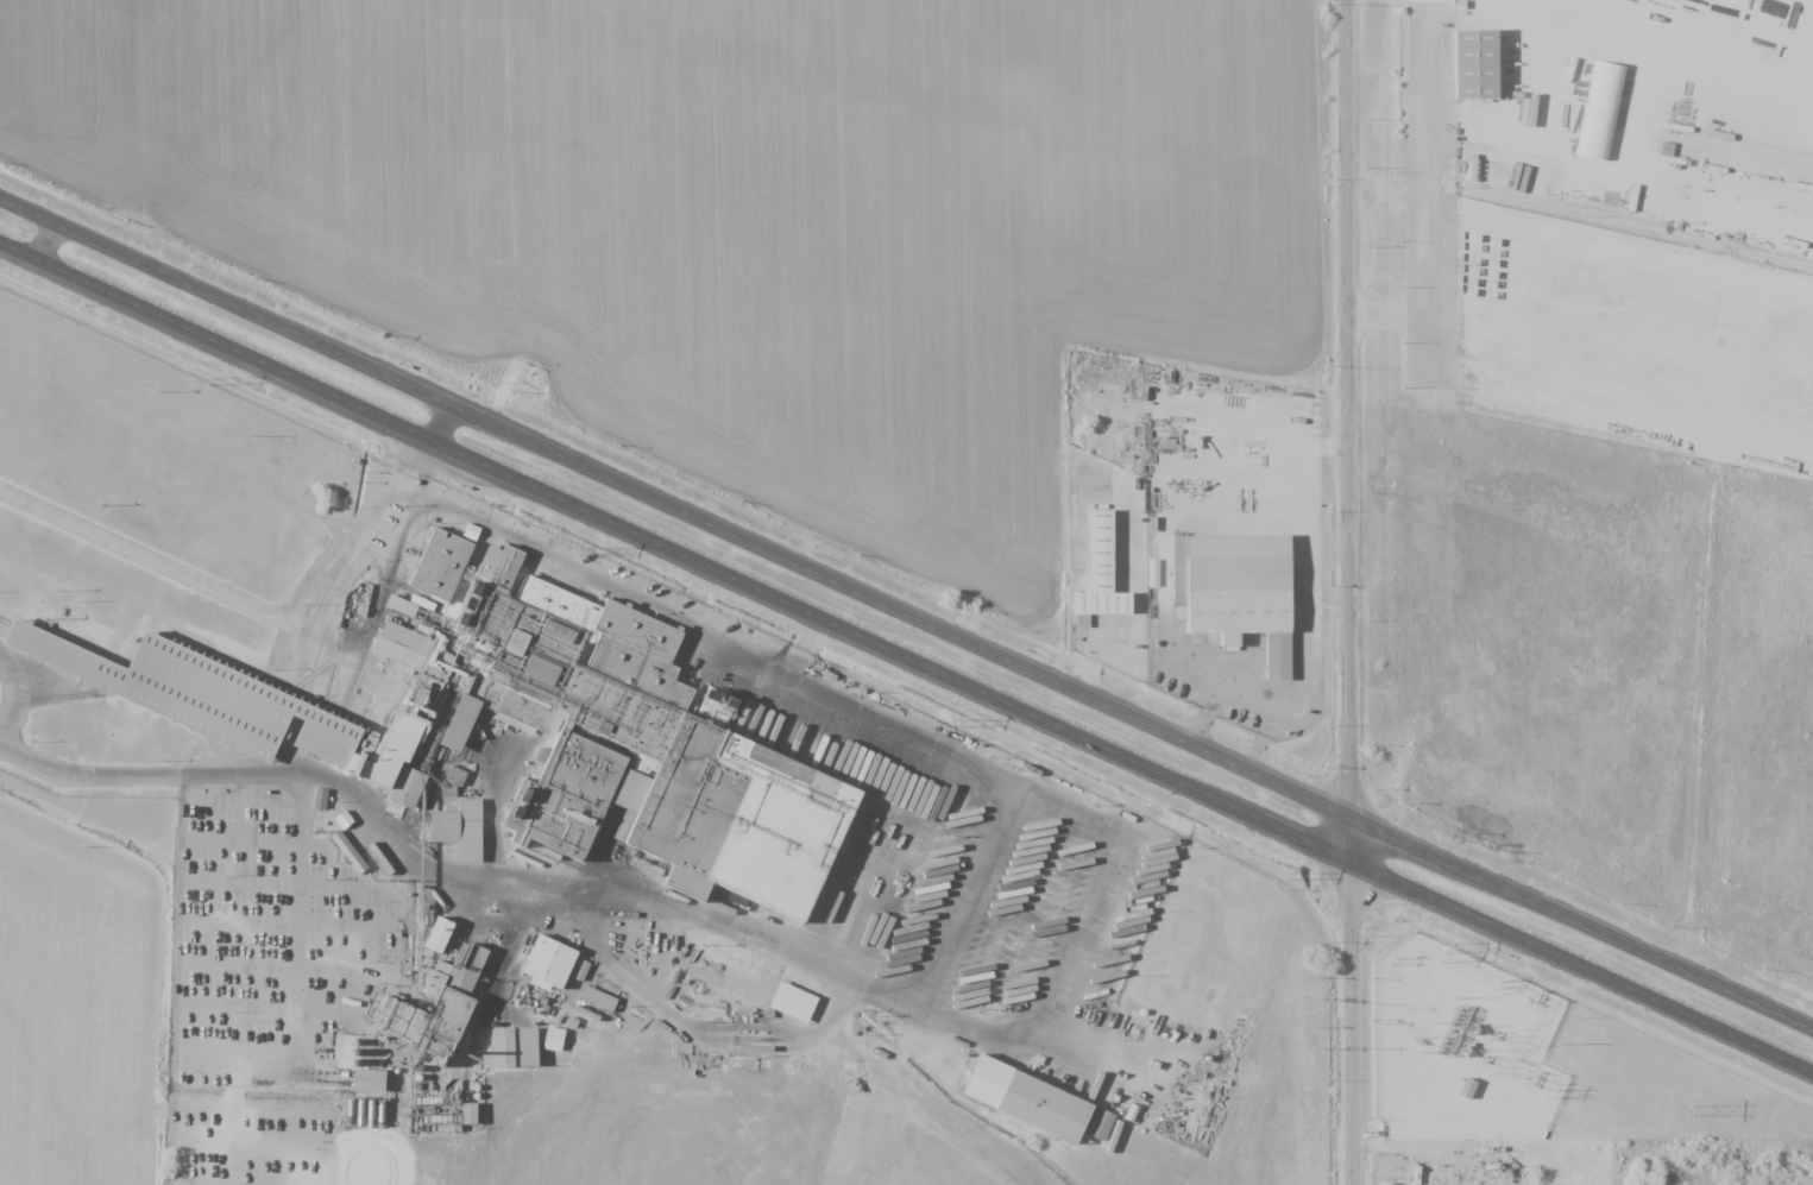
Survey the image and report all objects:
building: (1482, 69)
building: (1603, 115)
crop: (743, 215)
road: (43, 240)
power tower: (206, 379)
road: (440, 423)
road: (675, 508)
power tower: (577, 544)
road: (675, 553)
building: (460, 565)
building: (1100, 575)
building: (1245, 588)
road: (231, 592)
road: (1353, 592)
road: (707, 617)
road: (14, 682)
power tower: (956, 723)
building: (454, 777)
building: (407, 787)
building: (319, 799)
road: (1068, 812)
building: (459, 828)
building: (348, 851)
power tower: (1288, 876)
road: (566, 889)
road: (1584, 921)
building: (437, 934)
power tower: (1440, 951)
building: (556, 965)
road: (1582, 967)
power tower: (1499, 988)
building: (598, 998)
building: (439, 1008)
road: (695, 1029)
power substation: (1455, 1046)
building: (511, 1048)
building: (369, 1080)
building: (1472, 1091)
power tower: (1551, 1091)
power tower: (1688, 1110)
building: (1053, 1111)
building: (468, 1114)
building: (1098, 1124)

